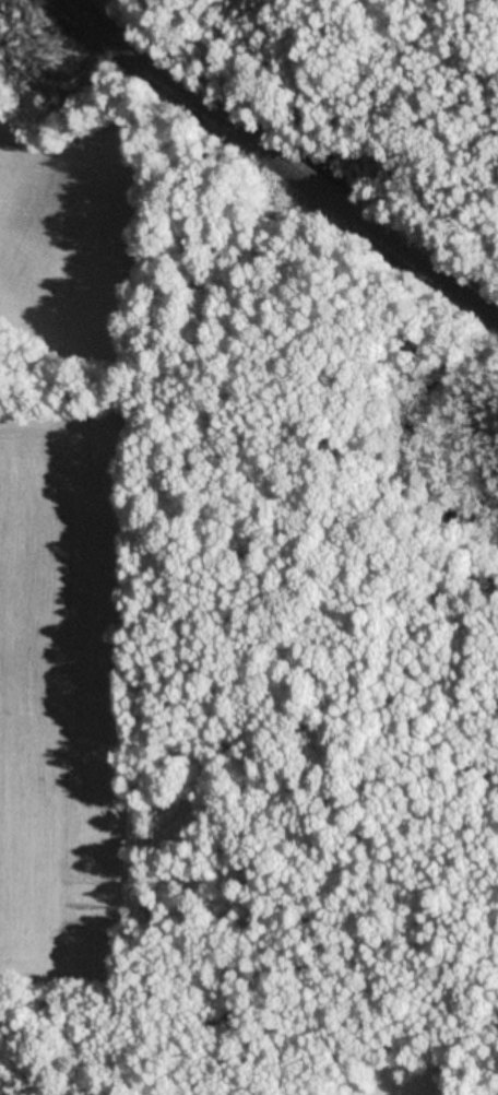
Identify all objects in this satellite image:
railway: (280, 161)

